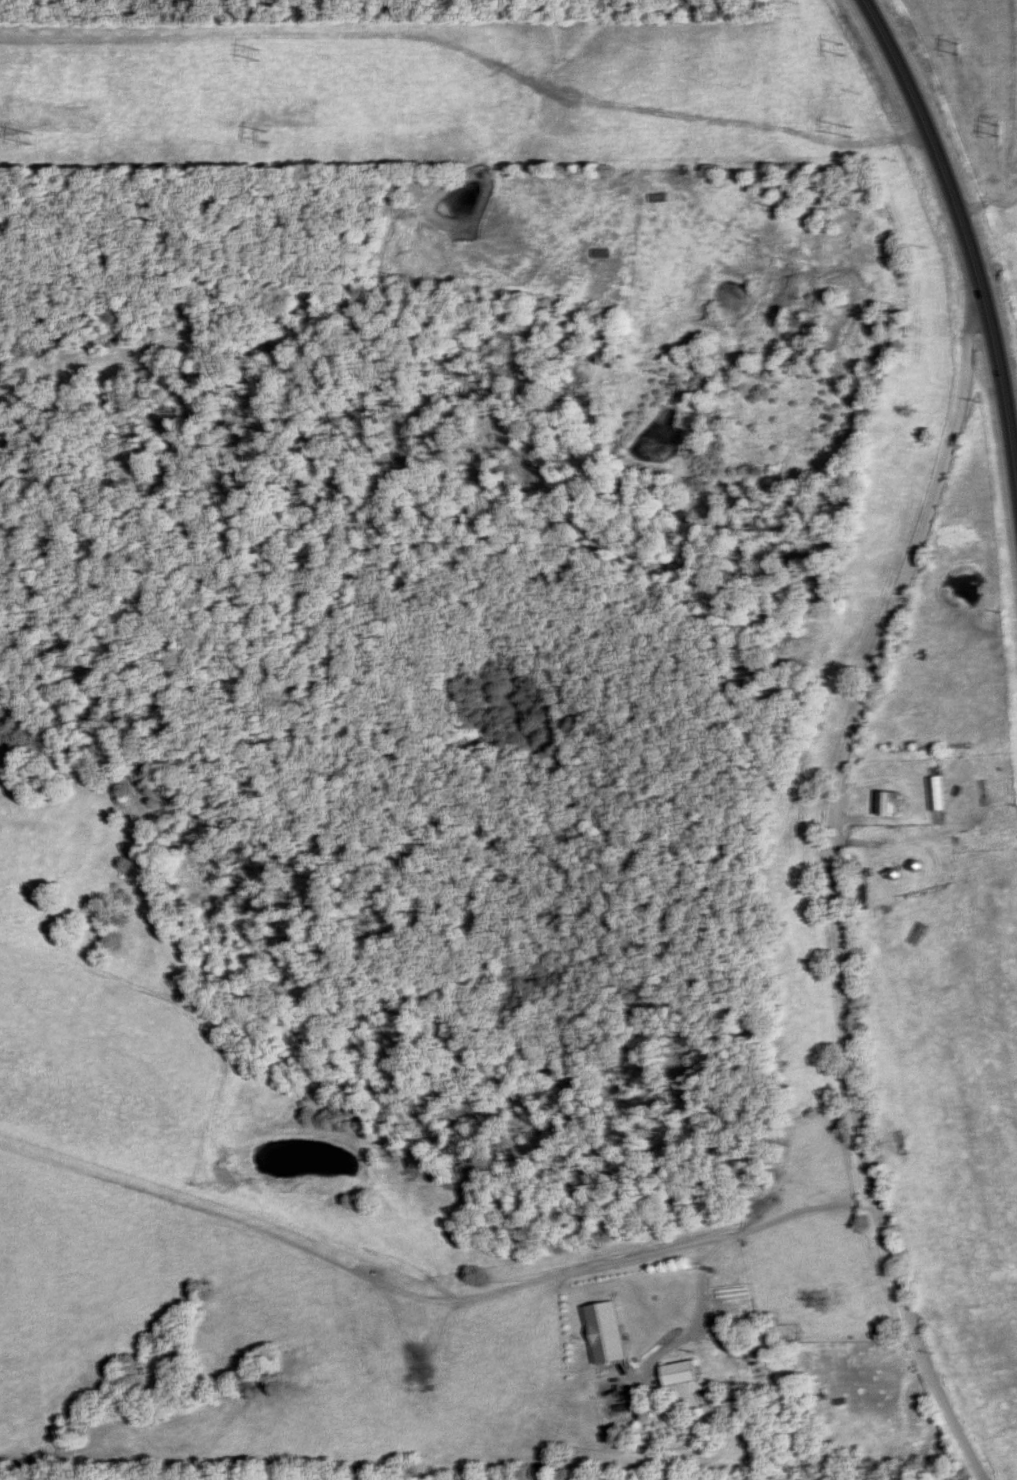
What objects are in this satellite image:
building: (657, 197)
road: (969, 231)
building: (602, 253)
building: (938, 793)
building: (892, 802)
road: (829, 886)
building: (606, 1332)
building: (680, 1373)

